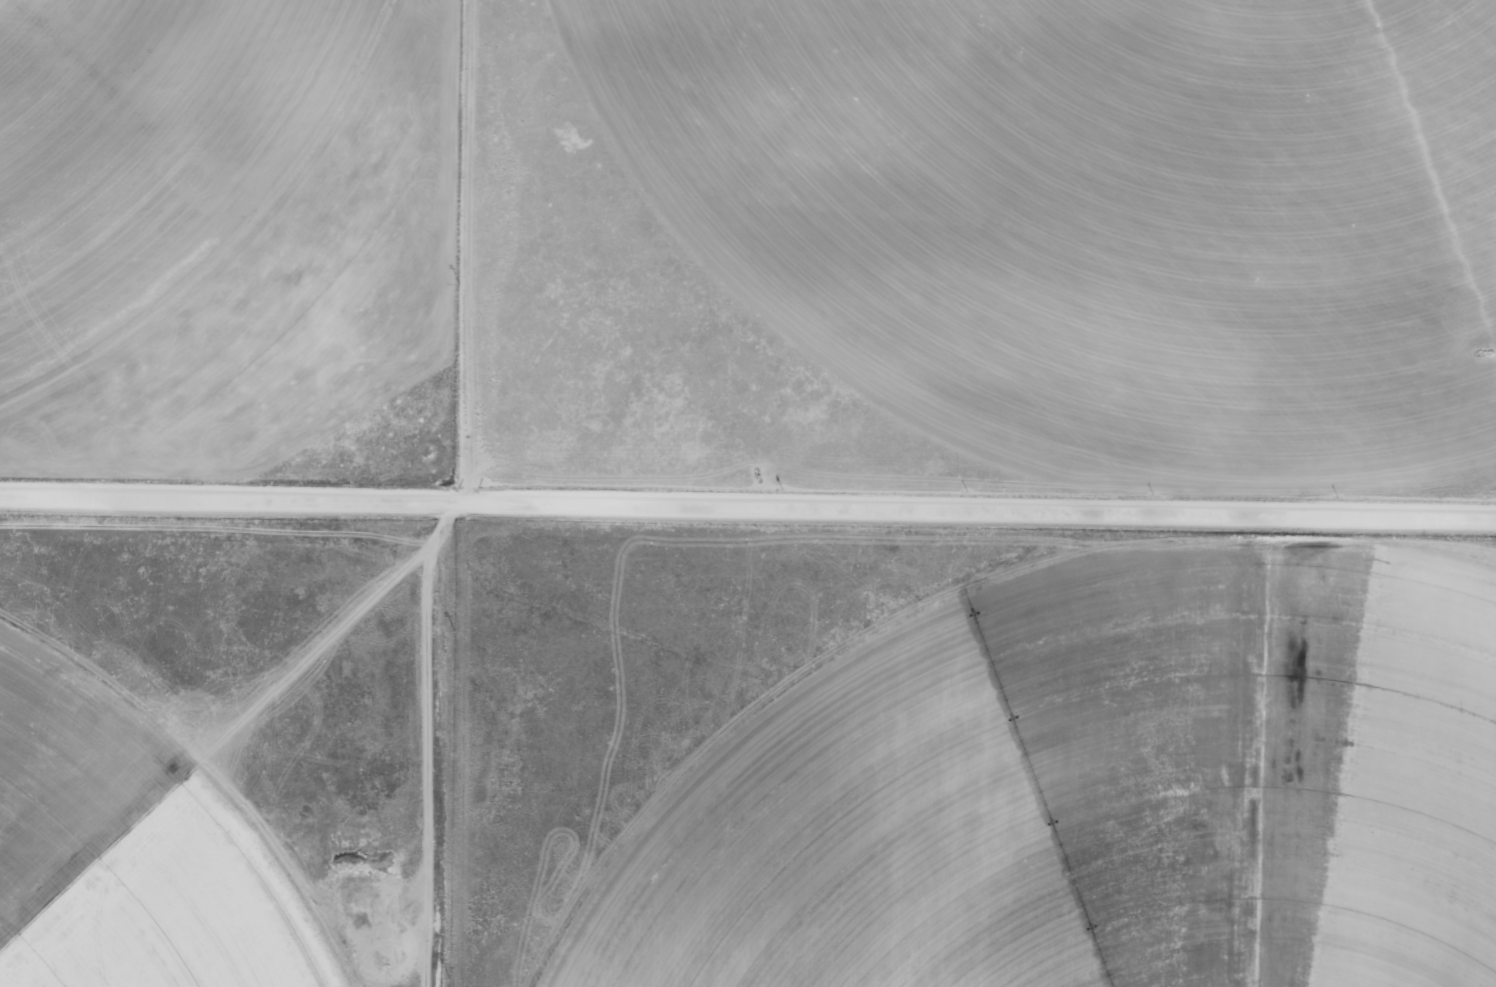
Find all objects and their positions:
road: (469, 252)
road: (748, 506)
building: (391, 973)

